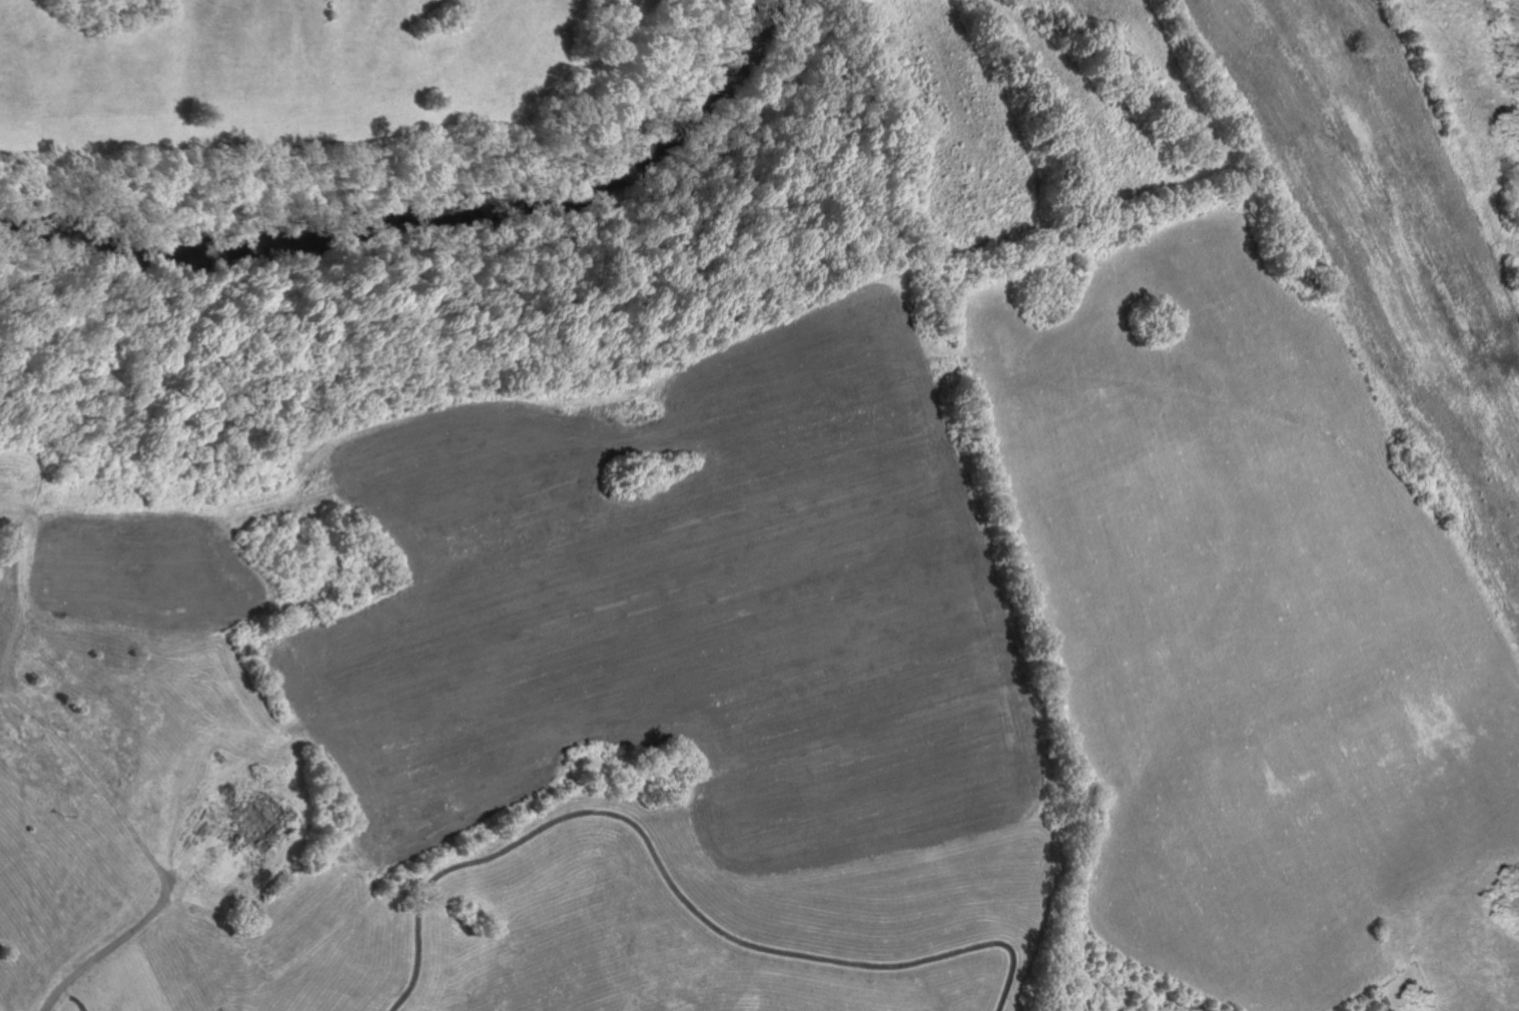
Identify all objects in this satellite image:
road: (90, 772)
building: (262, 813)
road: (673, 881)
road: (113, 945)
road: (77, 995)
road: (84, 1009)

